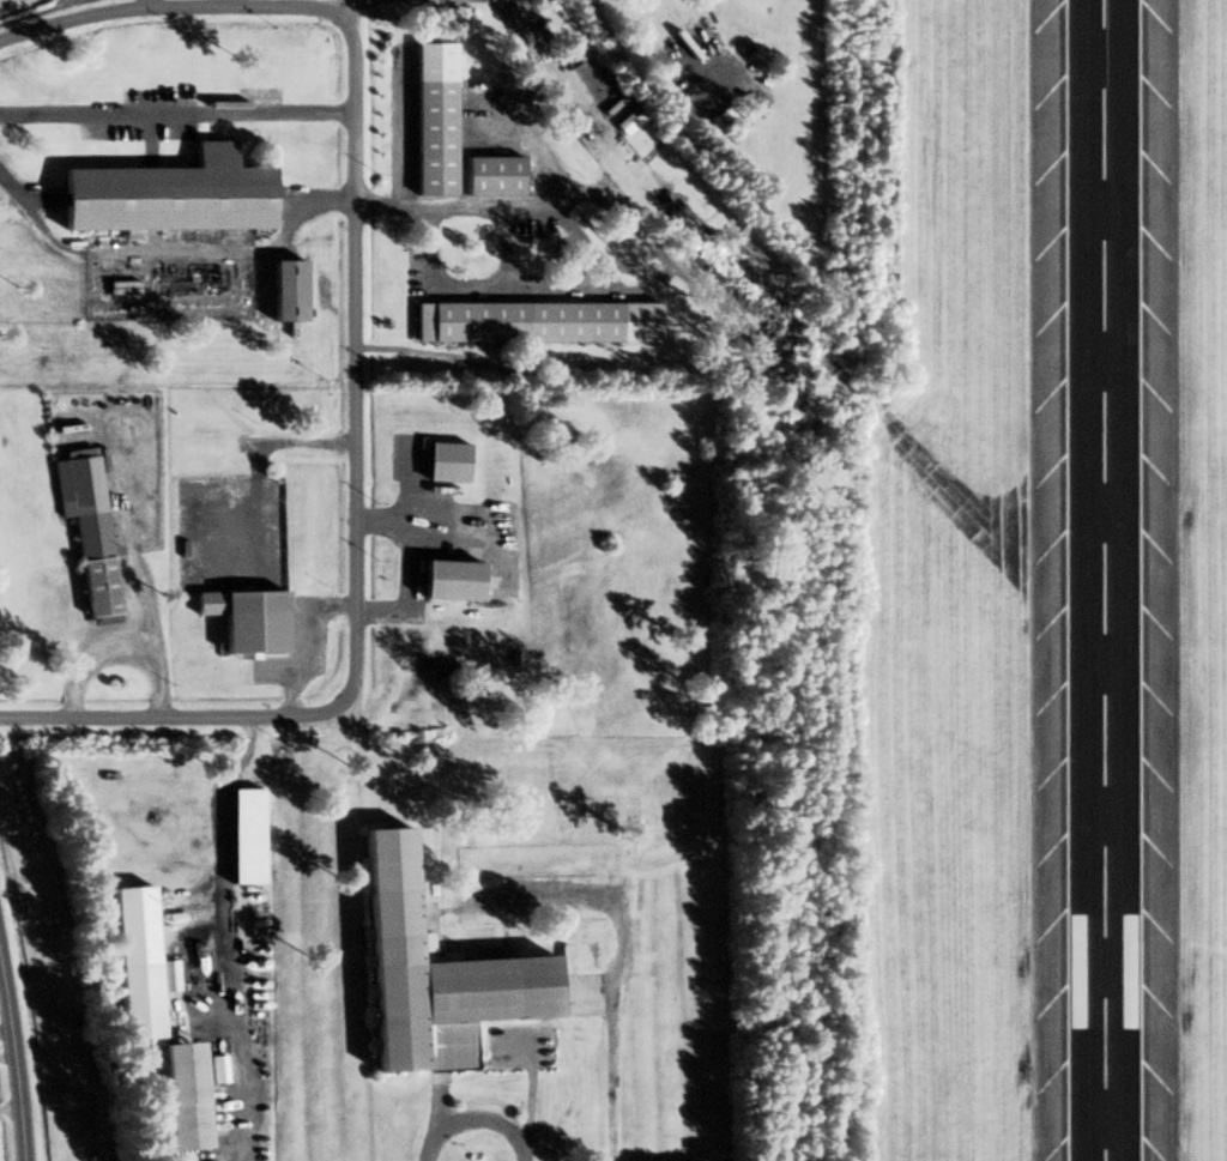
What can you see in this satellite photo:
road: (344, 5)
road: (169, 10)
road: (176, 113)
road: (406, 129)
building: (430, 138)
building: (491, 177)
building: (168, 199)
road: (507, 247)
road: (171, 254)
road: (592, 256)
building: (284, 294)
building: (515, 321)
road: (260, 458)
building: (445, 460)
road: (355, 530)
building: (89, 537)
airport: (975, 579)
building: (446, 580)
airport runway: (1102, 580)
building: (250, 623)
road: (222, 935)
building: (1077, 970)
building: (1130, 970)
building: (428, 972)
road: (14, 1068)
road: (610, 1072)
building: (177, 1092)
road: (475, 1118)

